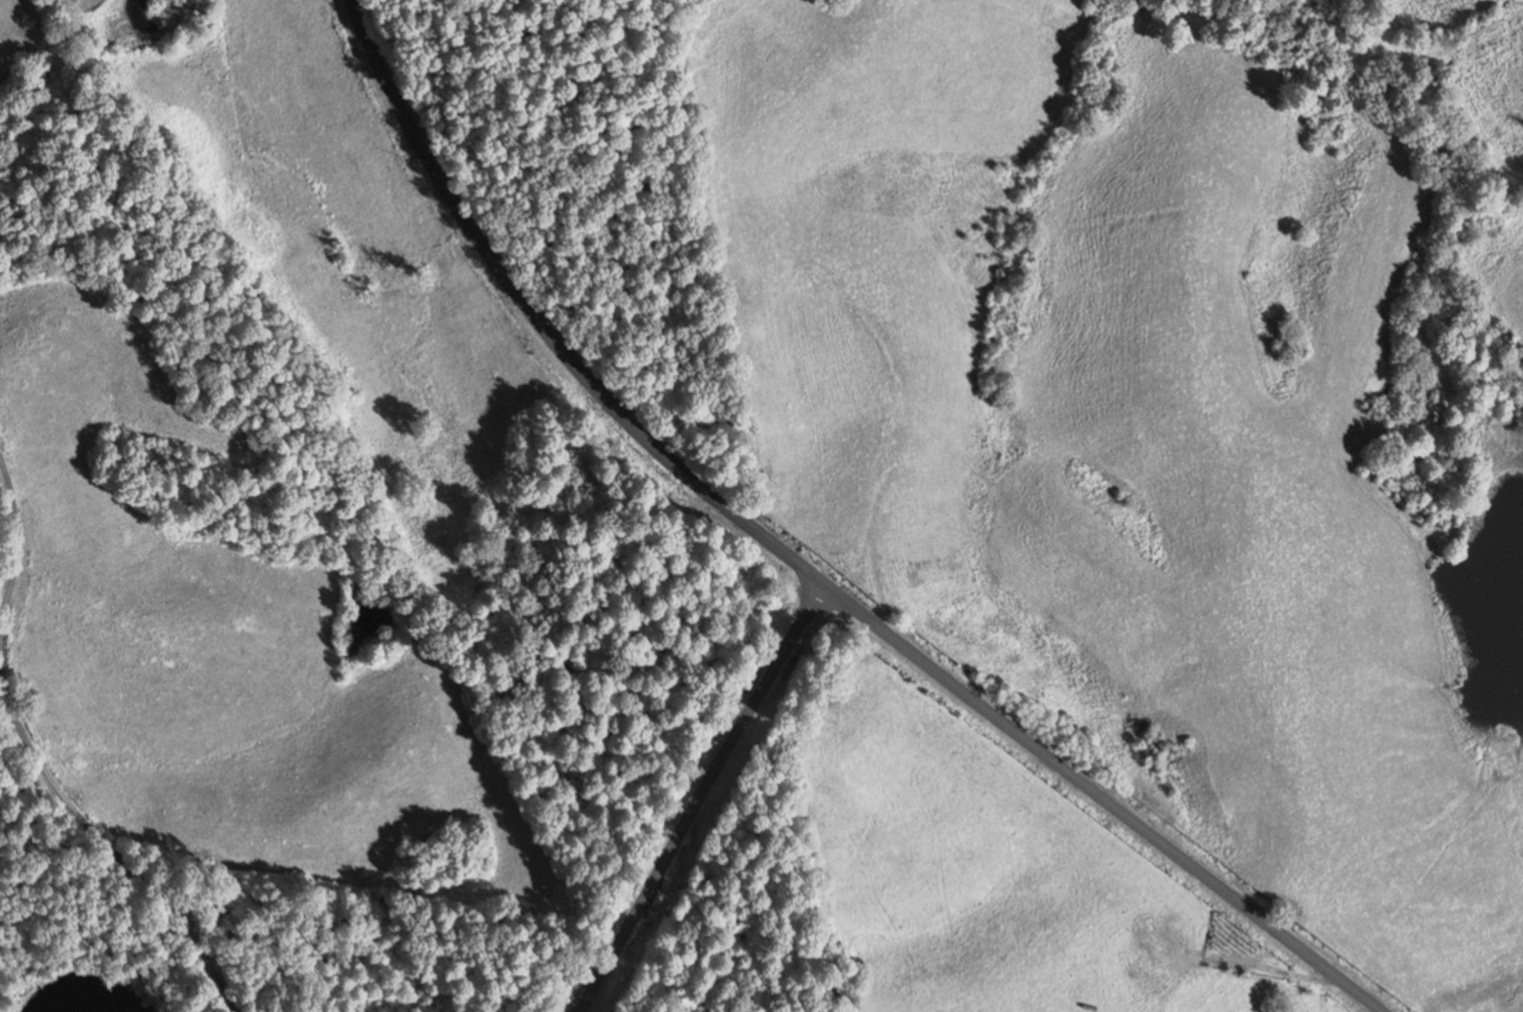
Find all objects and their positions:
road: (545, 327)
road: (16, 546)
road: (704, 797)
road: (1104, 798)
road: (104, 844)

